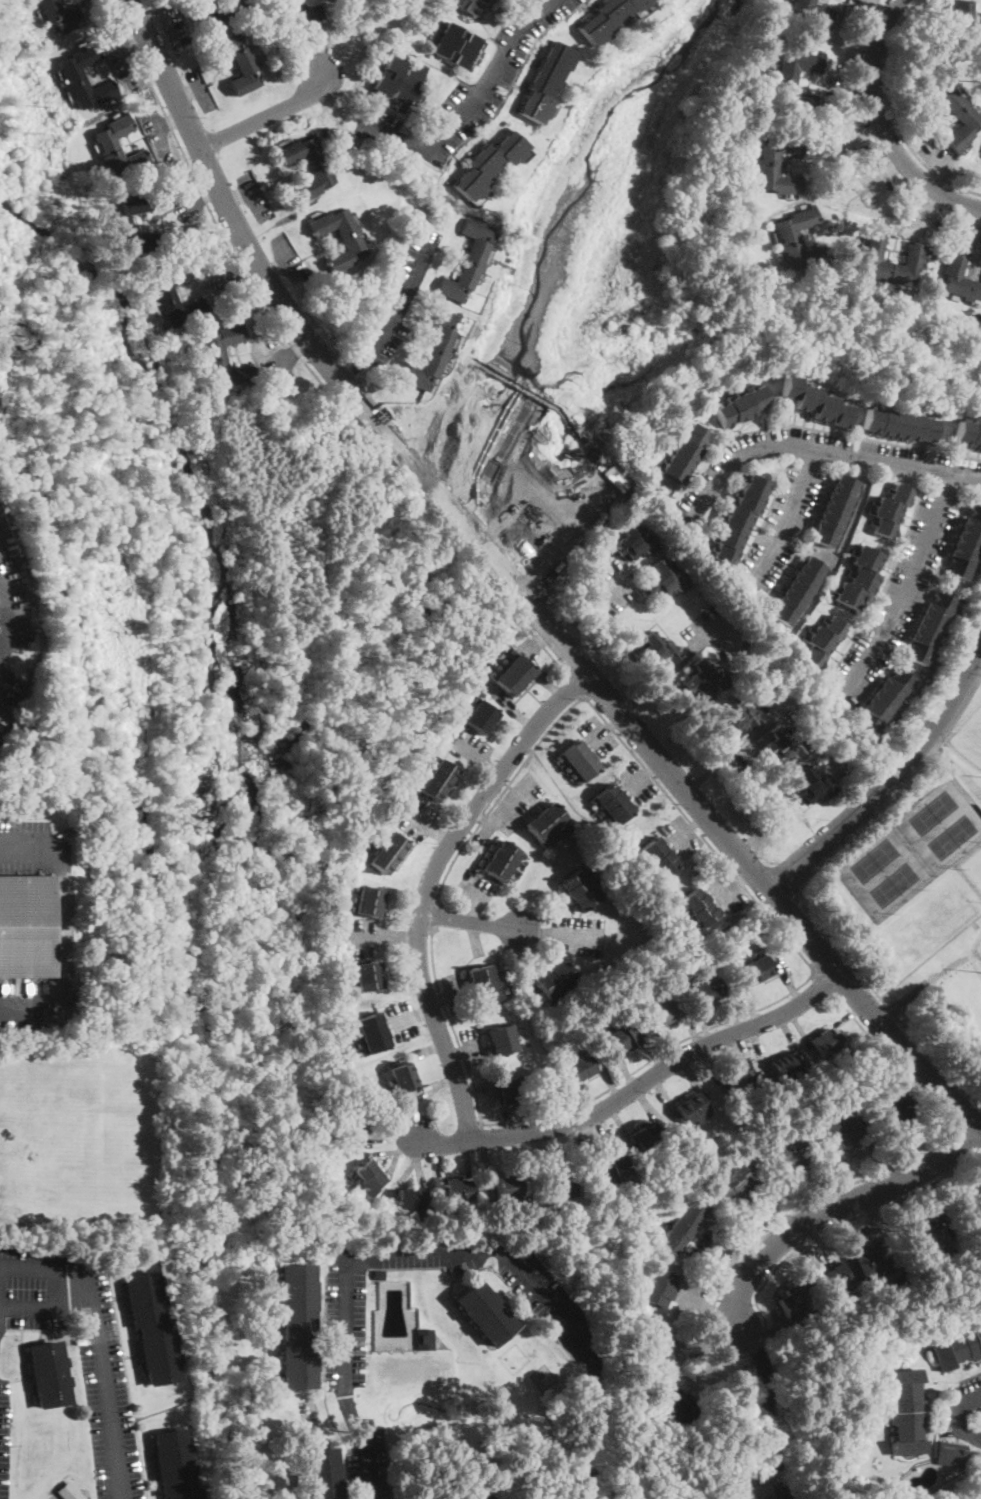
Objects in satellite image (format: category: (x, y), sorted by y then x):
building: (345, 1)
parking lot: (89, 2)
building: (468, 5)
building: (223, 9)
building: (815, 12)
building: (59, 16)
building: (608, 18)
road: (156, 23)
road: (170, 24)
building: (967, 24)
road: (128, 32)
road: (312, 33)
building: (455, 46)
parking lot: (117, 53)
road: (121, 56)
building: (237, 63)
building: (72, 73)
building: (398, 82)
building: (548, 83)
building: (785, 87)
parking lot: (471, 90)
road: (201, 92)
road: (188, 94)
road: (472, 102)
road: (893, 114)
road: (265, 115)
building: (969, 120)
road: (170, 121)
road: (882, 126)
parking lot: (157, 132)
road: (160, 133)
building: (106, 143)
building: (487, 164)
building: (306, 167)
building: (768, 167)
road: (885, 170)
road: (210, 192)
parking lot: (255, 197)
road: (235, 198)
road: (196, 200)
road: (250, 200)
parking lot: (189, 205)
building: (120, 220)
building: (788, 239)
building: (354, 245)
road: (285, 259)
parking lot: (288, 259)
building: (913, 259)
building: (468, 261)
road: (246, 262)
road: (274, 269)
road: (231, 272)
parking lot: (220, 274)
building: (960, 278)
building: (163, 292)
parking lot: (401, 303)
road: (404, 303)
road: (302, 345)
building: (433, 351)
building: (214, 352)
road: (288, 356)
road: (303, 359)
parking lot: (283, 363)
road: (354, 368)
building: (813, 402)
building: (739, 406)
building: (896, 424)
building: (967, 434)
road: (821, 447)
building: (678, 460)
parking lot: (825, 462)
building: (834, 510)
building: (889, 510)
road: (787, 516)
building: (738, 519)
parking lot: (781, 526)
building: (633, 542)
building: (966, 543)
building: (859, 578)
building: (664, 580)
road: (1, 583)
road: (906, 585)
road: (518, 589)
parking lot: (610, 591)
building: (797, 591)
parking lot: (898, 594)
road: (591, 606)
road: (3, 614)
road: (6, 618)
parking lot: (15, 626)
building: (929, 627)
parking lot: (710, 631)
road: (539, 638)
building: (822, 641)
road: (3, 644)
building: (655, 652)
building: (513, 675)
road: (663, 676)
building: (704, 678)
road: (552, 685)
road: (577, 685)
building: (883, 702)
road: (509, 704)
parking lot: (784, 705)
building: (481, 717)
building: (735, 717)
road: (615, 718)
road: (599, 732)
park: (970, 735)
parking lot: (598, 736)
road: (619, 736)
parking lot: (470, 746)
building: (781, 746)
road: (735, 748)
road: (472, 751)
parking lot: (728, 754)
building: (579, 760)
road: (494, 766)
road: (655, 766)
building: (437, 780)
road: (640, 780)
road: (890, 780)
parking lot: (638, 783)
building: (808, 785)
building: (613, 804)
parking lot: (509, 808)
road: (505, 809)
park: (932, 810)
parking lot: (416, 815)
road: (421, 816)
road: (483, 817)
road: (700, 820)
building: (545, 822)
road: (444, 830)
road: (684, 834)
parking lot: (684, 836)
park: (951, 838)
parking lot: (25, 846)
park: (980, 846)
building: (388, 853)
park: (873, 857)
building: (657, 858)
building: (501, 861)
park: (972, 867)
road: (746, 876)
road: (427, 884)
park: (893, 885)
parking lot: (476, 889)
road: (729, 889)
road: (472, 891)
building: (579, 891)
road: (795, 891)
parking lot: (729, 894)
building: (368, 901)
park: (920, 901)
road: (472, 907)
building: (700, 907)
road: (433, 915)
road: (469, 922)
road: (63, 925)
building: (26, 927)
road: (536, 932)
road: (371, 936)
road: (404, 936)
parking lot: (578, 936)
road: (578, 936)
road: (476, 937)
parking lot: (367, 938)
park: (978, 939)
road: (930, 954)
building: (756, 969)
building: (367, 976)
building: (555, 980)
road: (789, 982)
road: (825, 982)
building: (482, 985)
parking lot: (455, 990)
building: (709, 991)
road: (451, 992)
road: (435, 999)
road: (750, 1002)
parking lot: (33, 1007)
road: (424, 1011)
building: (664, 1011)
road: (734, 1011)
road: (848, 1015)
road: (405, 1018)
parking lot: (403, 1020)
road: (704, 1023)
road: (799, 1028)
road: (692, 1030)
building: (373, 1032)
building: (630, 1034)
road: (790, 1035)
building: (501, 1040)
building: (618, 1040)
building: (825, 1042)
road: (470, 1045)
road: (669, 1045)
parking lot: (474, 1046)
road: (427, 1049)
road: (759, 1049)
road: (455, 1052)
road: (744, 1052)
road: (653, 1053)
building: (586, 1064)
building: (783, 1066)
building: (576, 1070)
building: (400, 1071)
road: (625, 1072)
road: (693, 1077)
building: (404, 1083)
road: (609, 1083)
building: (741, 1083)
road: (437, 1085)
road: (636, 1085)
building: (510, 1090)
road: (663, 1094)
building: (327, 1096)
road: (583, 1101)
road: (649, 1106)
building: (691, 1107)
road: (563, 1109)
building: (890, 1109)
building: (351, 1120)
road: (506, 1122)
road: (620, 1122)
building: (839, 1129)
road: (392, 1130)
building: (350, 1134)
road: (604, 1134)
building: (647, 1137)
road: (962, 1137)
road: (407, 1143)
road: (563, 1149)
road: (908, 1150)
road: (384, 1151)
building: (788, 1152)
road: (468, 1159)
road: (438, 1160)
road: (420, 1161)
road: (393, 1163)
road: (877, 1163)
road: (486, 1166)
building: (366, 1171)
building: (607, 1171)
road: (839, 1175)
building: (733, 1182)
building: (373, 1184)
building: (566, 1186)
building: (506, 1187)
building: (450, 1189)
road: (821, 1189)
building: (464, 1190)
building: (973, 1190)
building: (553, 1191)
road: (924, 1197)
building: (402, 1201)
building: (417, 1202)
road: (753, 1203)
road: (834, 1205)
building: (590, 1214)
building: (683, 1225)
road: (861, 1231)
road: (820, 1237)
building: (930, 1241)
road: (804, 1249)
road: (362, 1252)
road: (729, 1256)
building: (872, 1260)
road: (43, 1269)
building: (379, 1275)
road: (726, 1280)
building: (905, 1280)
building: (832, 1283)
building: (657, 1287)
building: (793, 1301)
road: (46, 1305)
road: (705, 1309)
building: (150, 1323)
building: (297, 1326)
building: (507, 1335)
building: (425, 1340)
road: (708, 1342)
building: (957, 1346)
parking lot: (78, 1347)
building: (653, 1351)
road: (716, 1364)
building: (48, 1374)
parking lot: (345, 1374)
road: (323, 1375)
road: (125, 1379)
road: (104, 1383)
building: (676, 1409)
road: (767, 1410)
parking lot: (962, 1411)
building: (905, 1412)
road: (957, 1416)
road: (596, 1422)
parking lot: (3, 1436)
building: (951, 1454)
building: (173, 1465)
building: (954, 1472)
building: (321, 1474)
building: (69, 1491)
building: (474, 1494)

